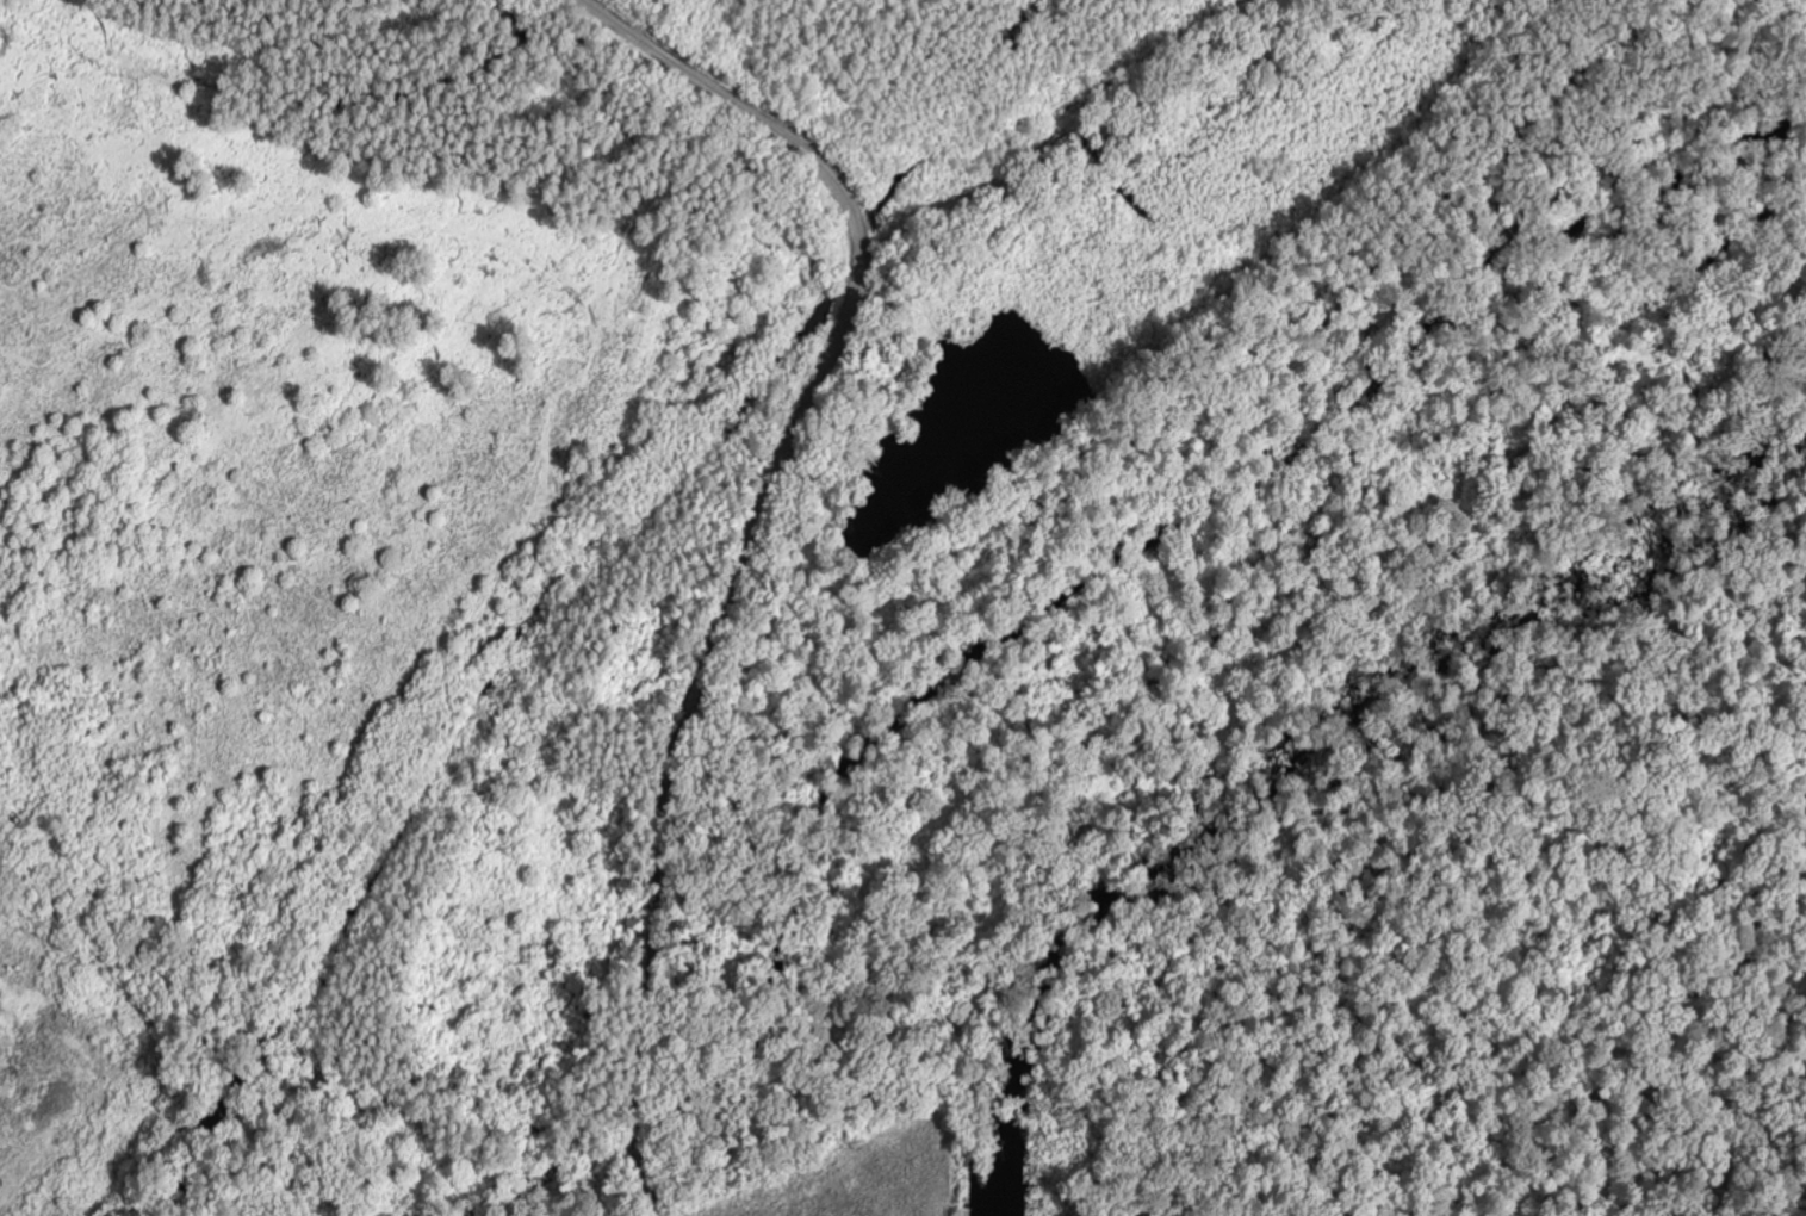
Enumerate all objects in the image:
road: (761, 535)

